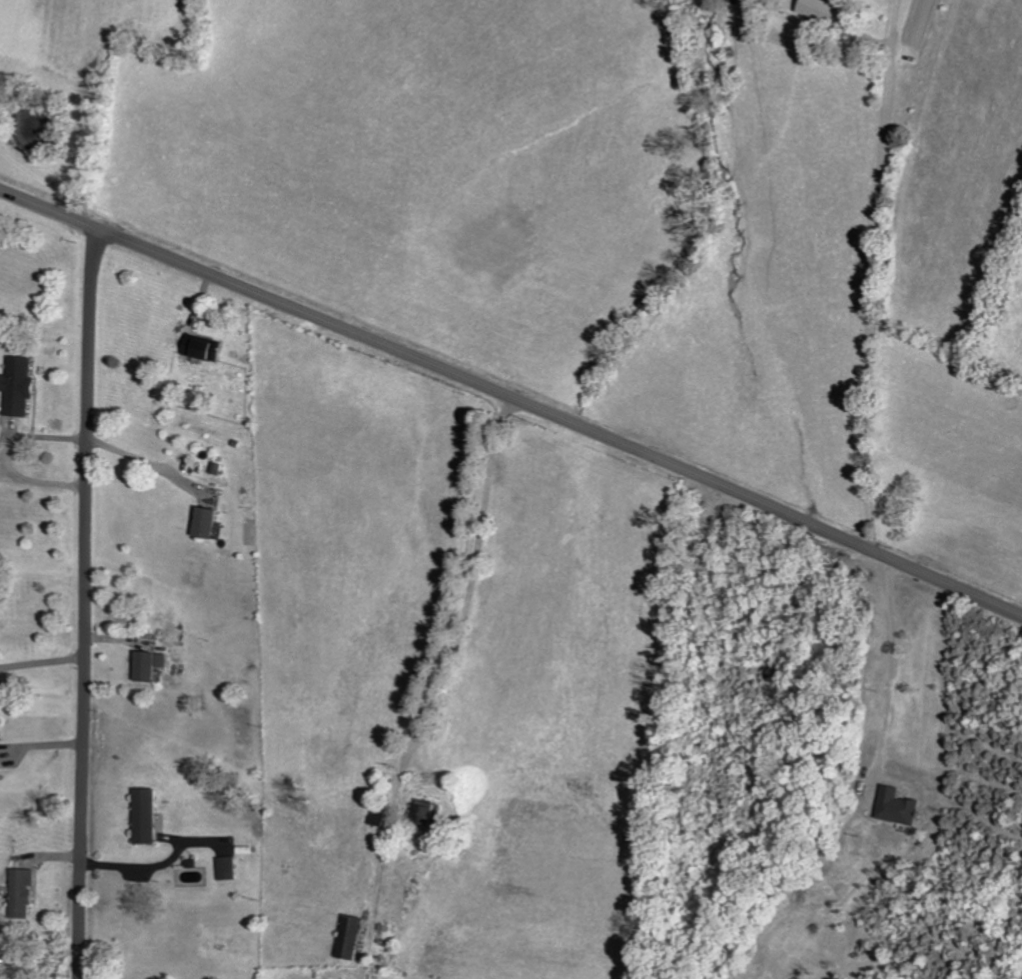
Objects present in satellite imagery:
building: (828, 11)
road: (1002, 338)
building: (208, 348)
building: (22, 386)
road: (512, 398)
road: (141, 463)
building: (211, 523)
road: (87, 604)
building: (153, 666)
road: (890, 671)
road: (662, 724)
building: (0, 751)
building: (148, 816)
building: (431, 816)
building: (383, 817)
building: (229, 868)
building: (25, 892)
building: (354, 936)

